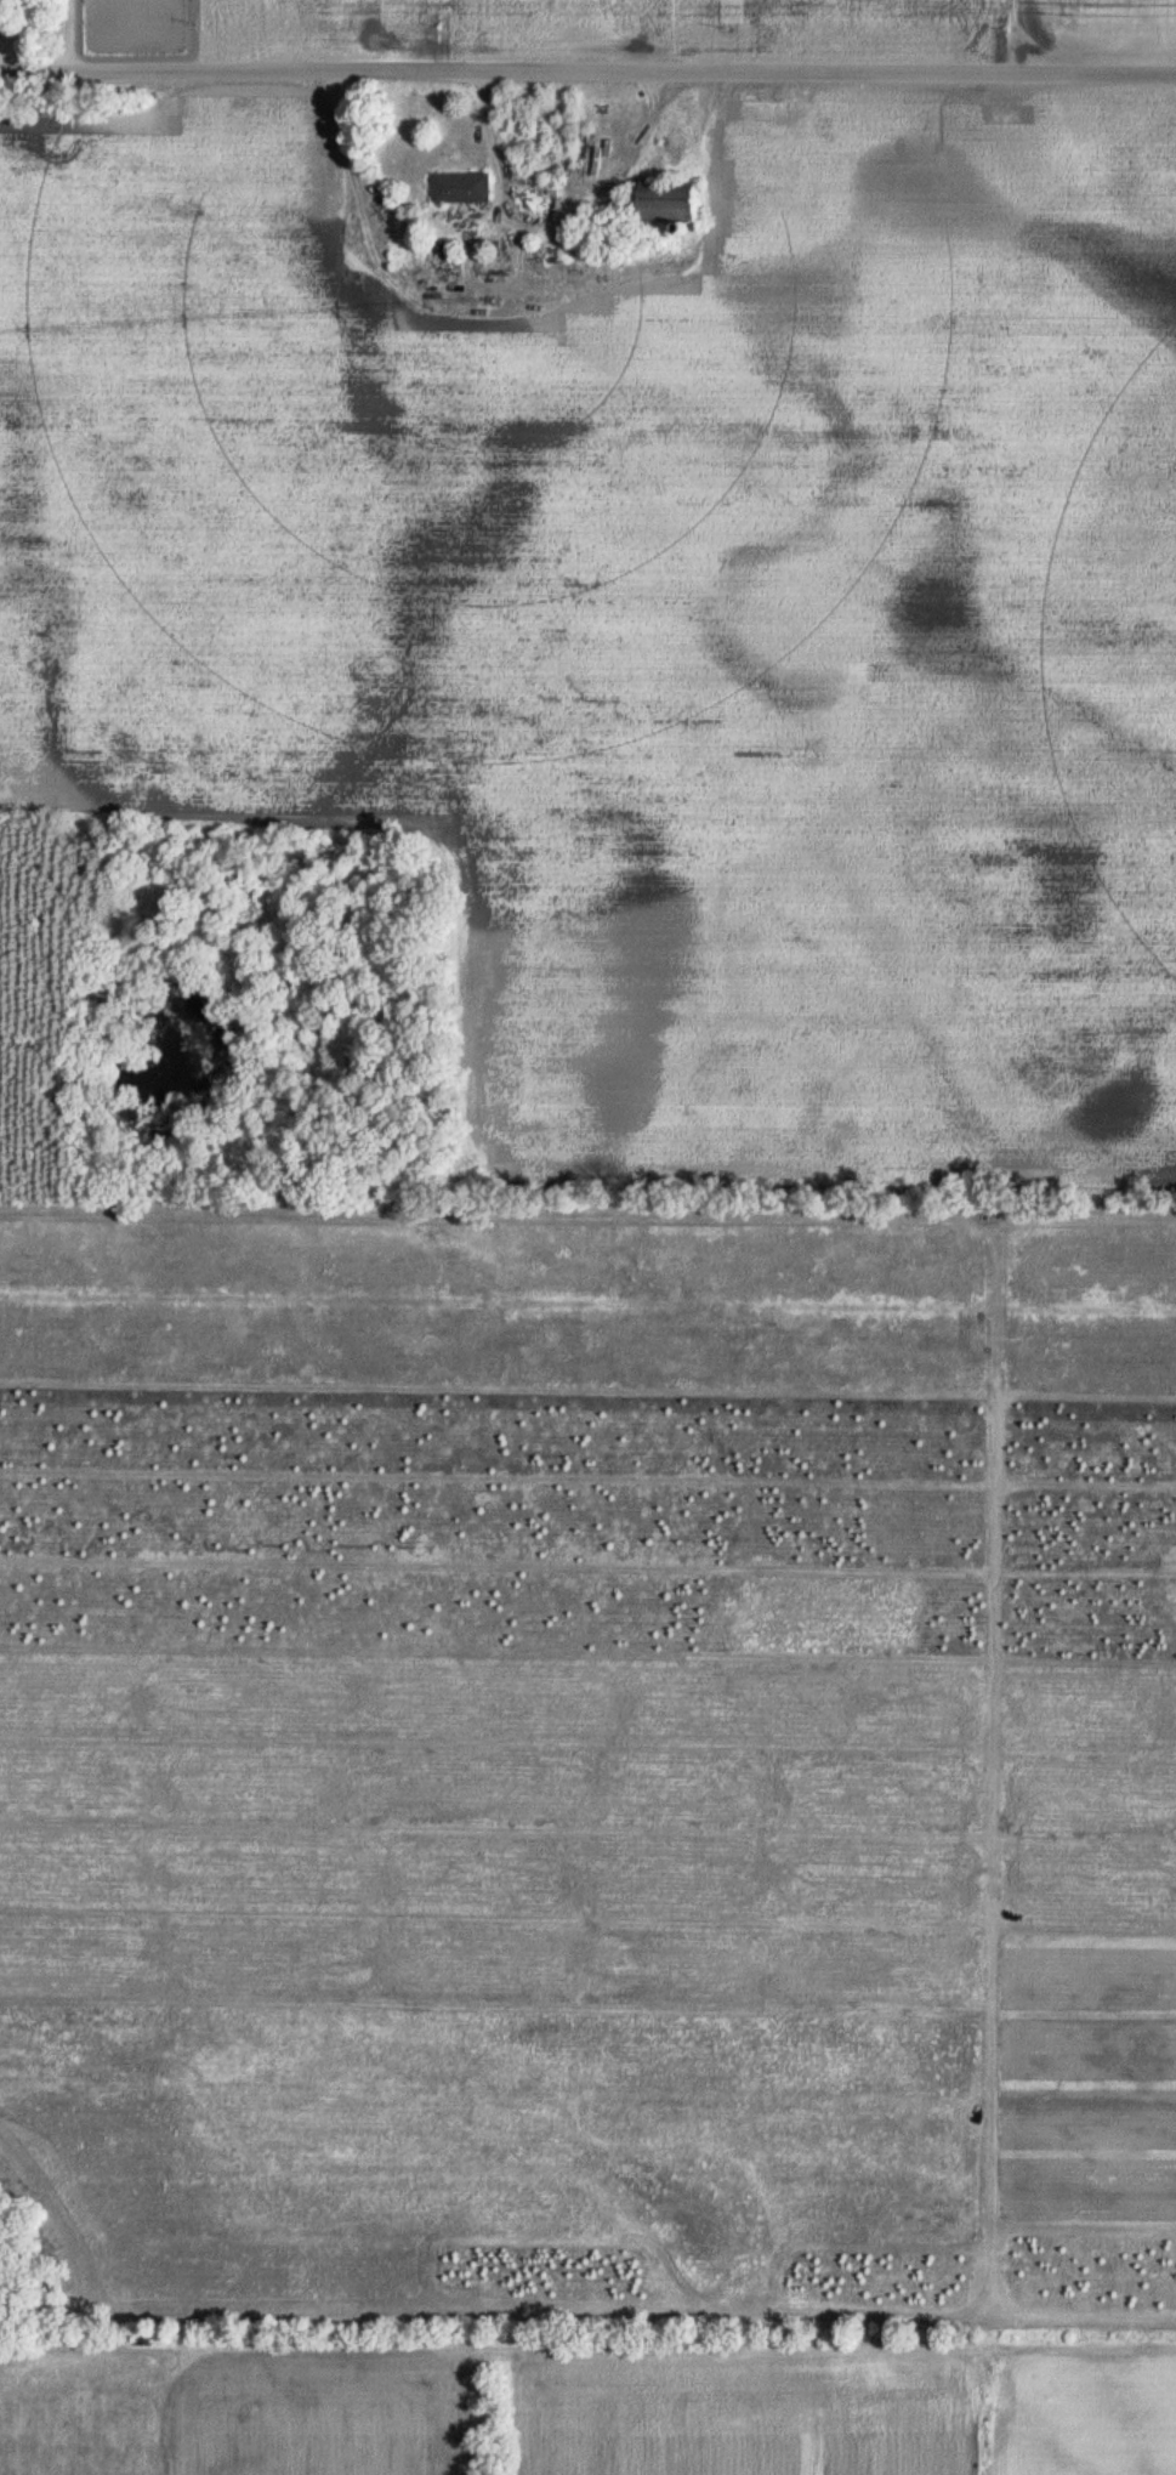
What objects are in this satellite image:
road: (66, 38)
road: (587, 76)
building: (458, 188)
building: (655, 206)

